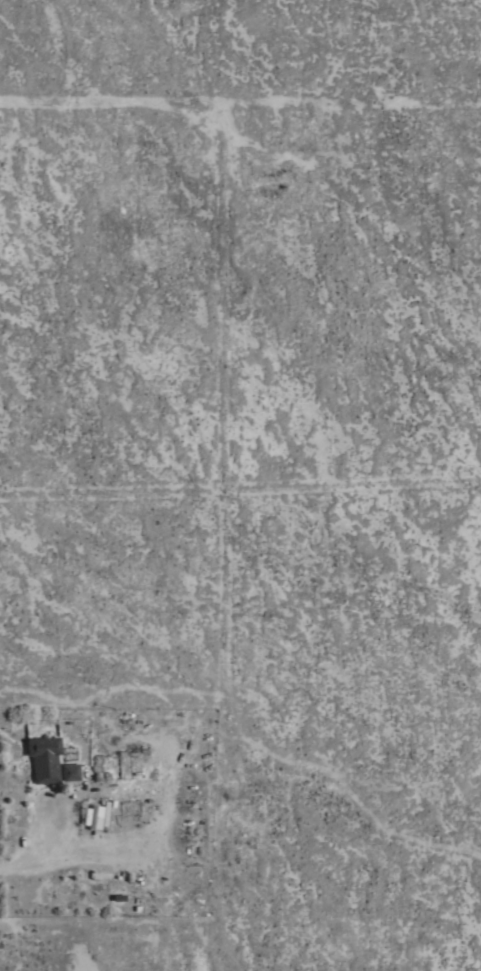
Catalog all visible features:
building: (44, 758)
building: (70, 772)
building: (105, 813)
building: (92, 817)

